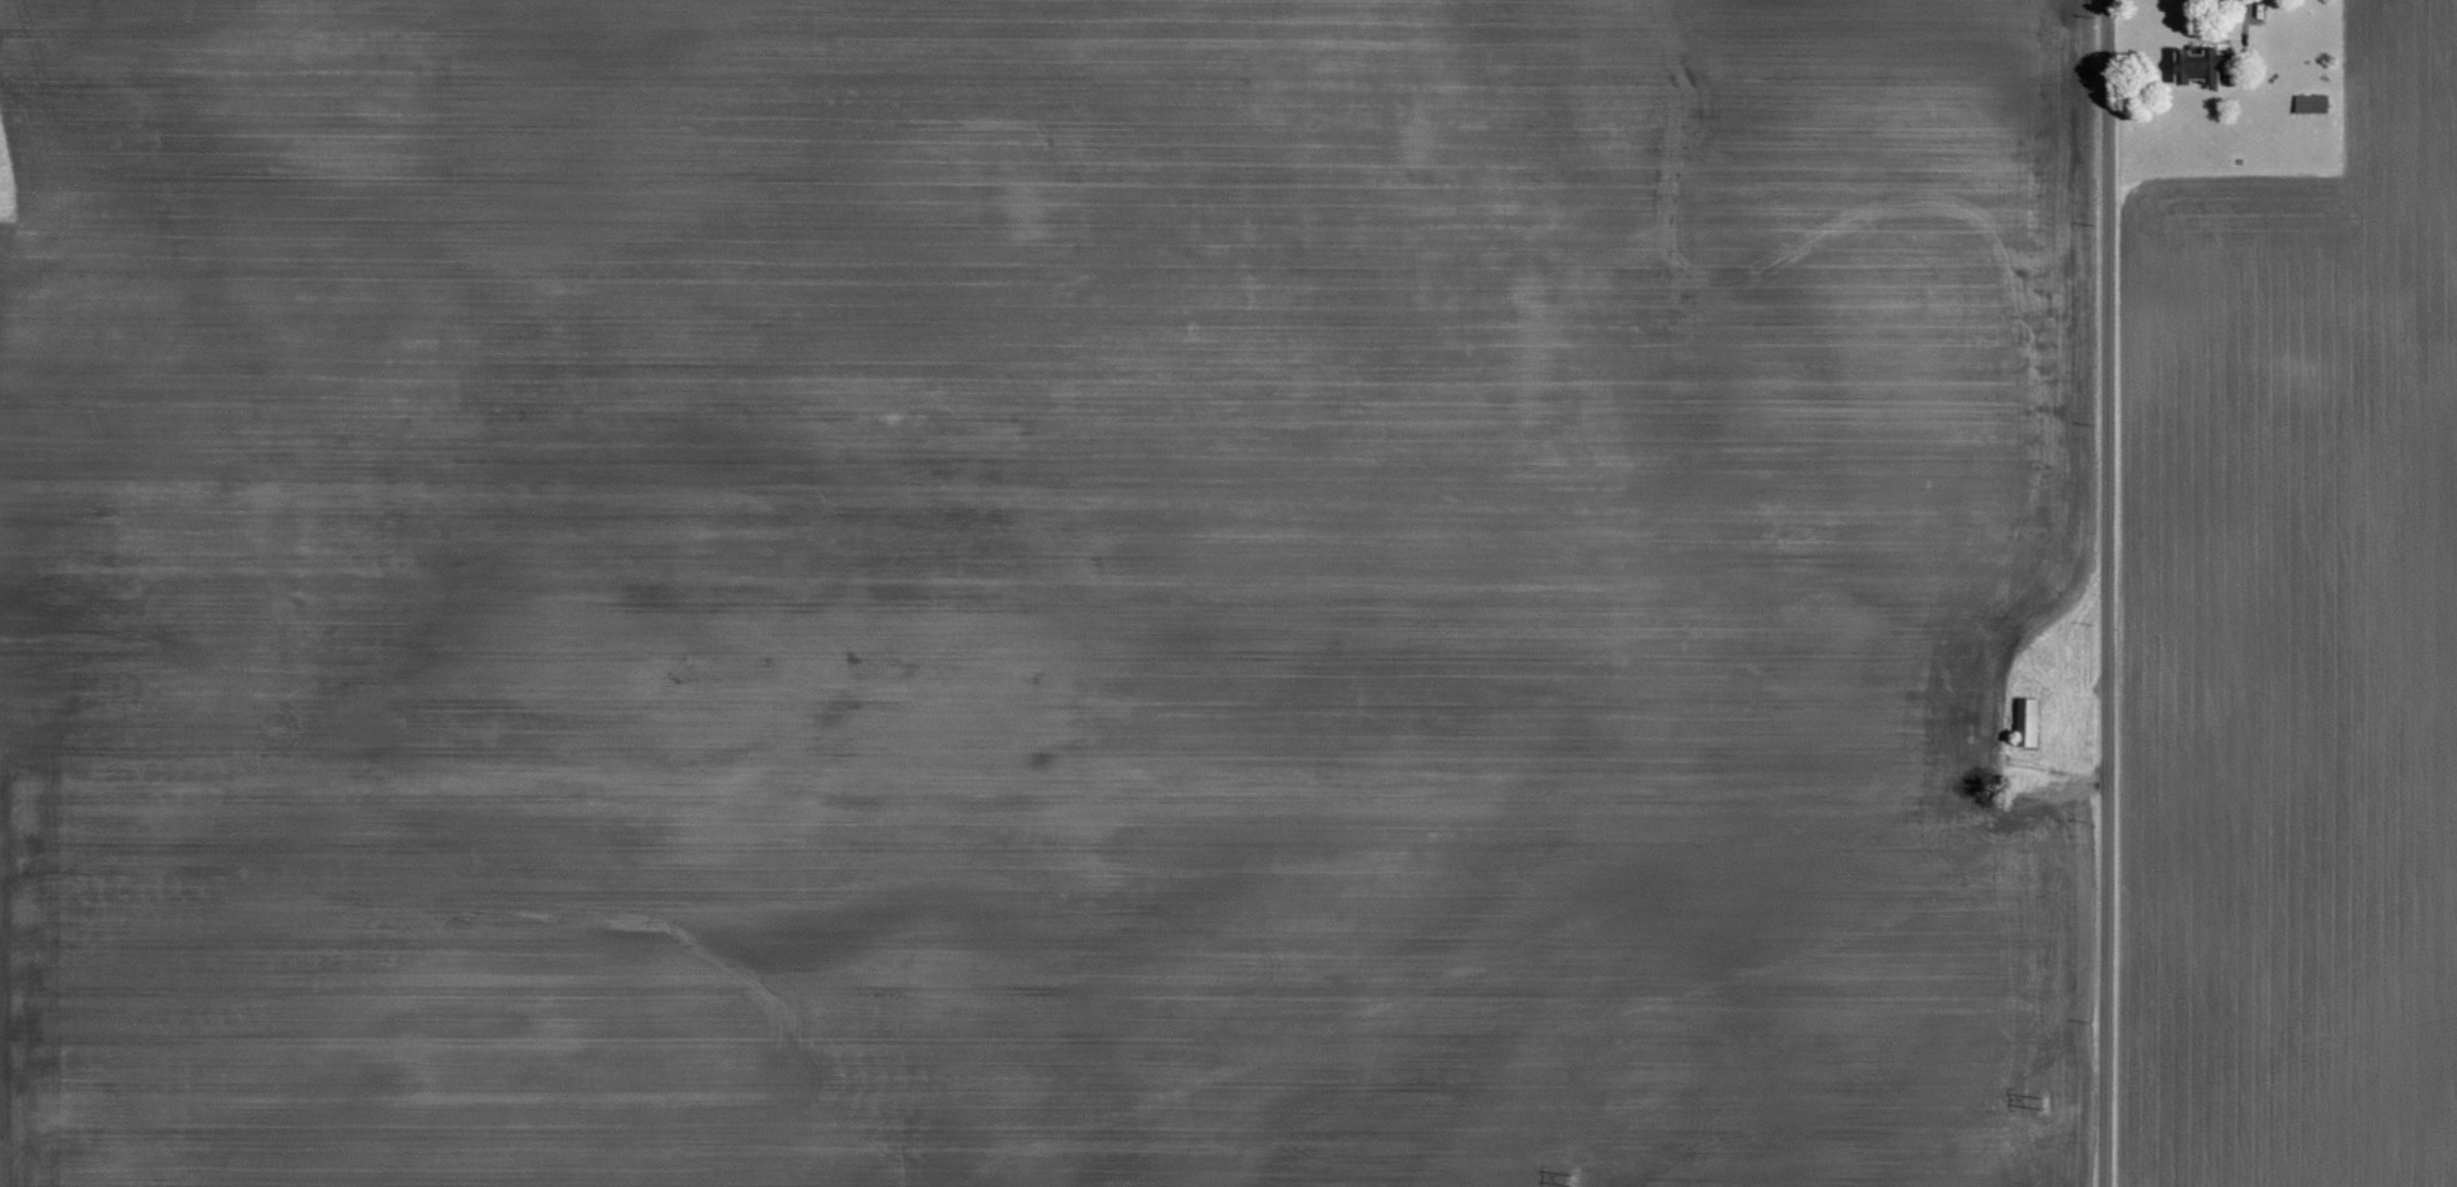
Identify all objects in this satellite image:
building: (2201, 68)
building: (2311, 103)
road: (2110, 593)
crop: (2291, 648)
building: (2027, 723)
power tower: (2045, 1098)

